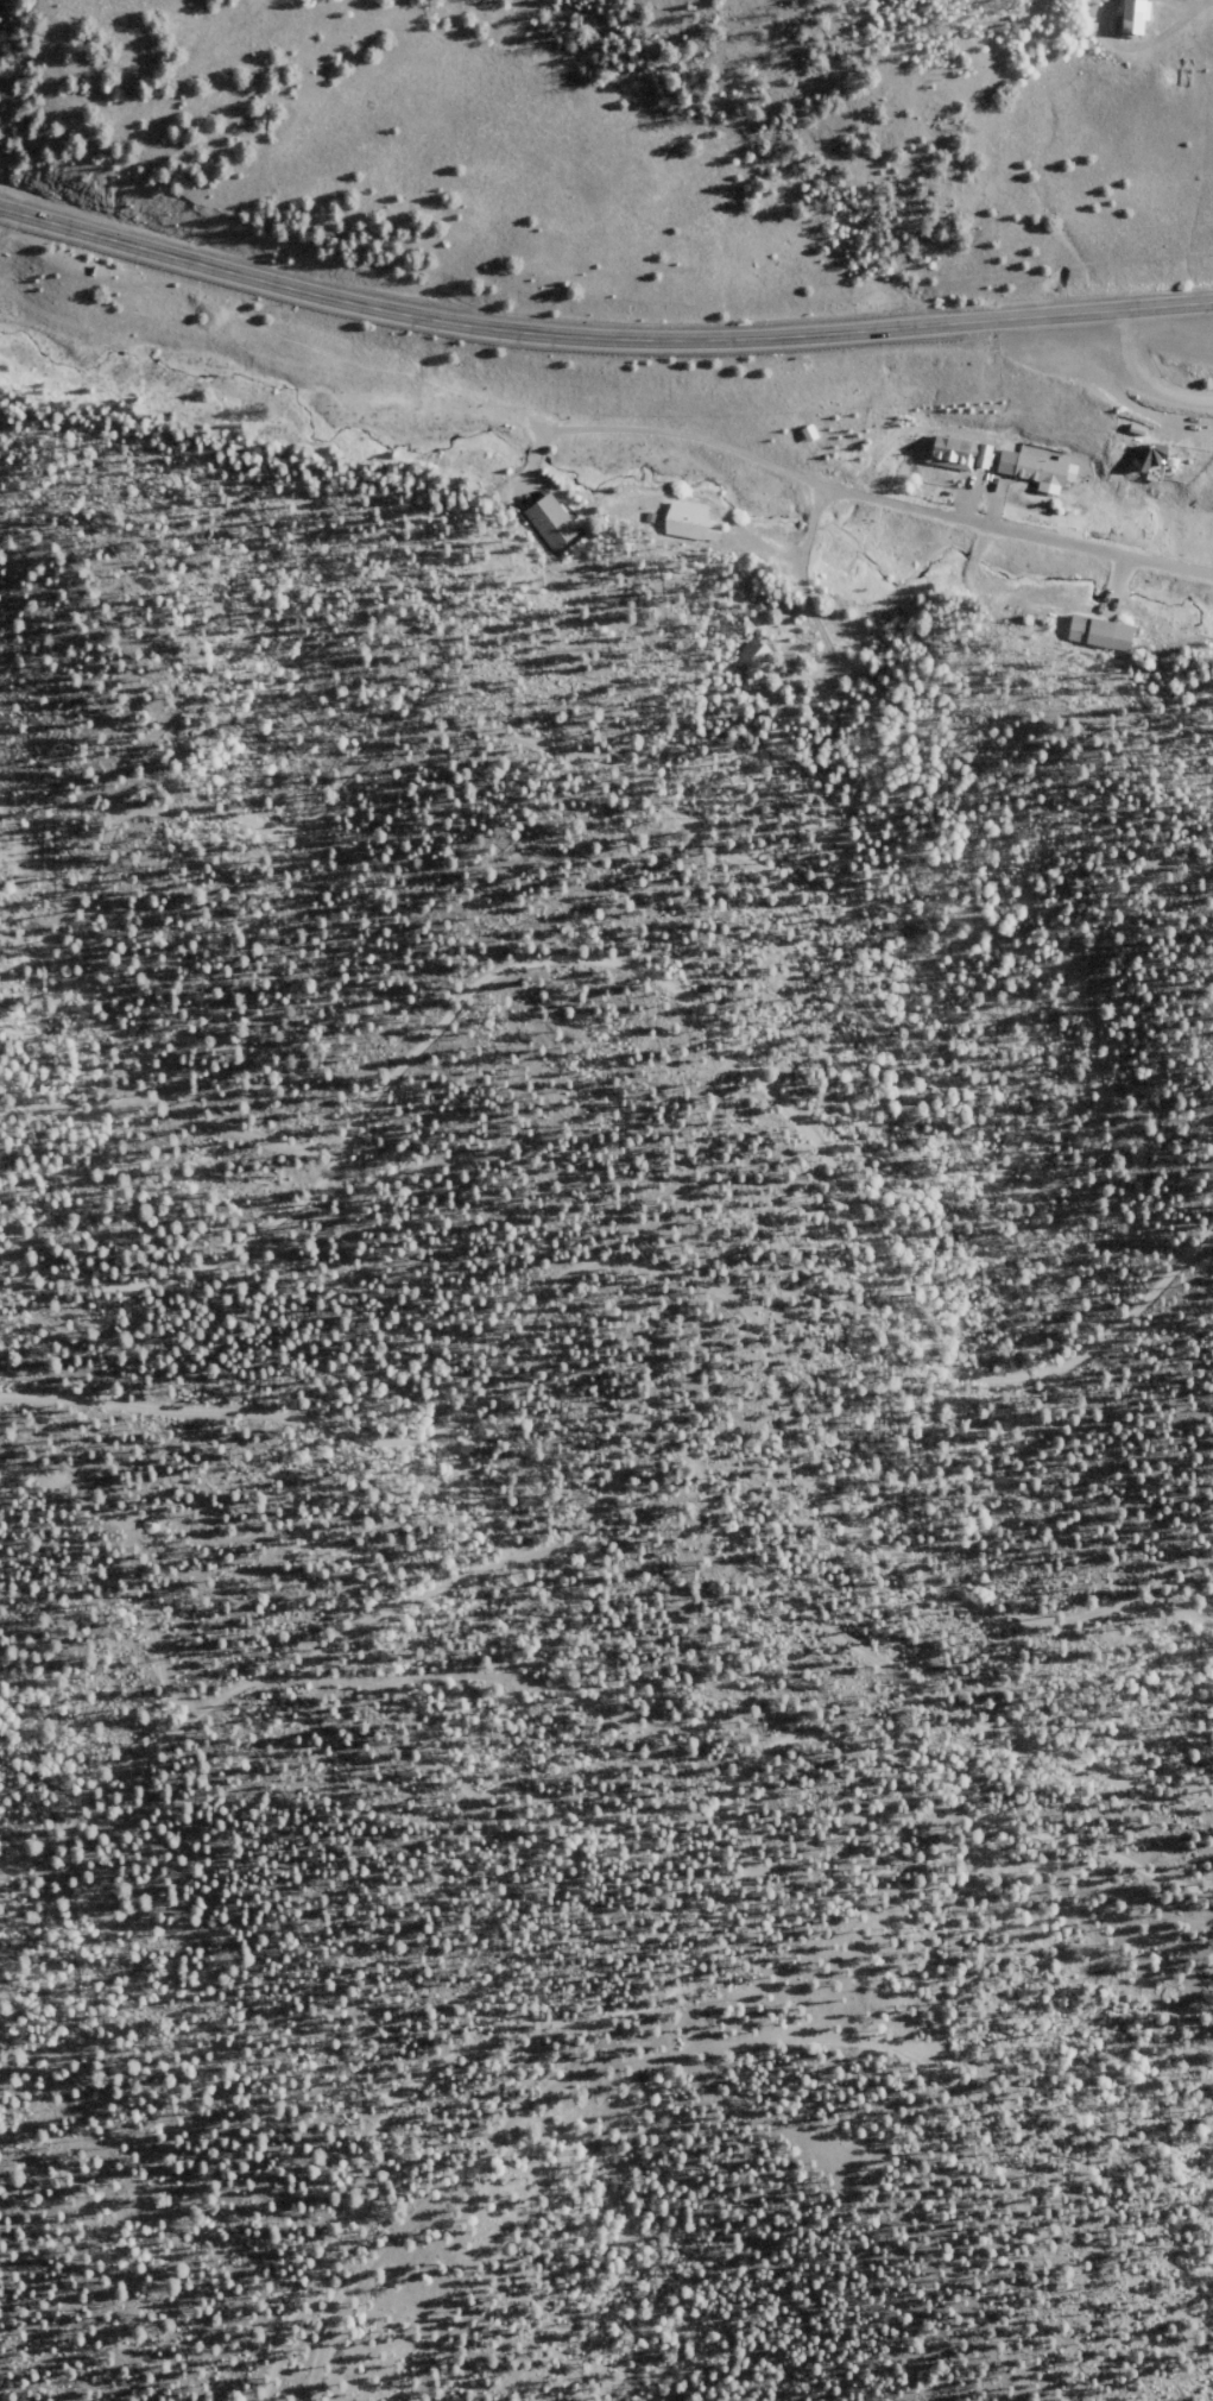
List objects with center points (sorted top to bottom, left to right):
building: (1136, 15)
road: (599, 336)
road: (1138, 373)
building: (959, 452)
building: (1151, 455)
building: (1038, 470)
building: (551, 521)
building: (691, 522)
building: (1101, 631)
road: (715, 825)
road: (418, 1052)
road: (166, 1077)
road: (88, 1115)
park: (579, 1262)
road: (1006, 1365)
road: (432, 1422)
road: (134, 1552)
road: (923, 1570)
road: (822, 1608)
road: (271, 1675)
road: (474, 1688)
road: (924, 1811)
road: (729, 2030)
road: (307, 2066)

